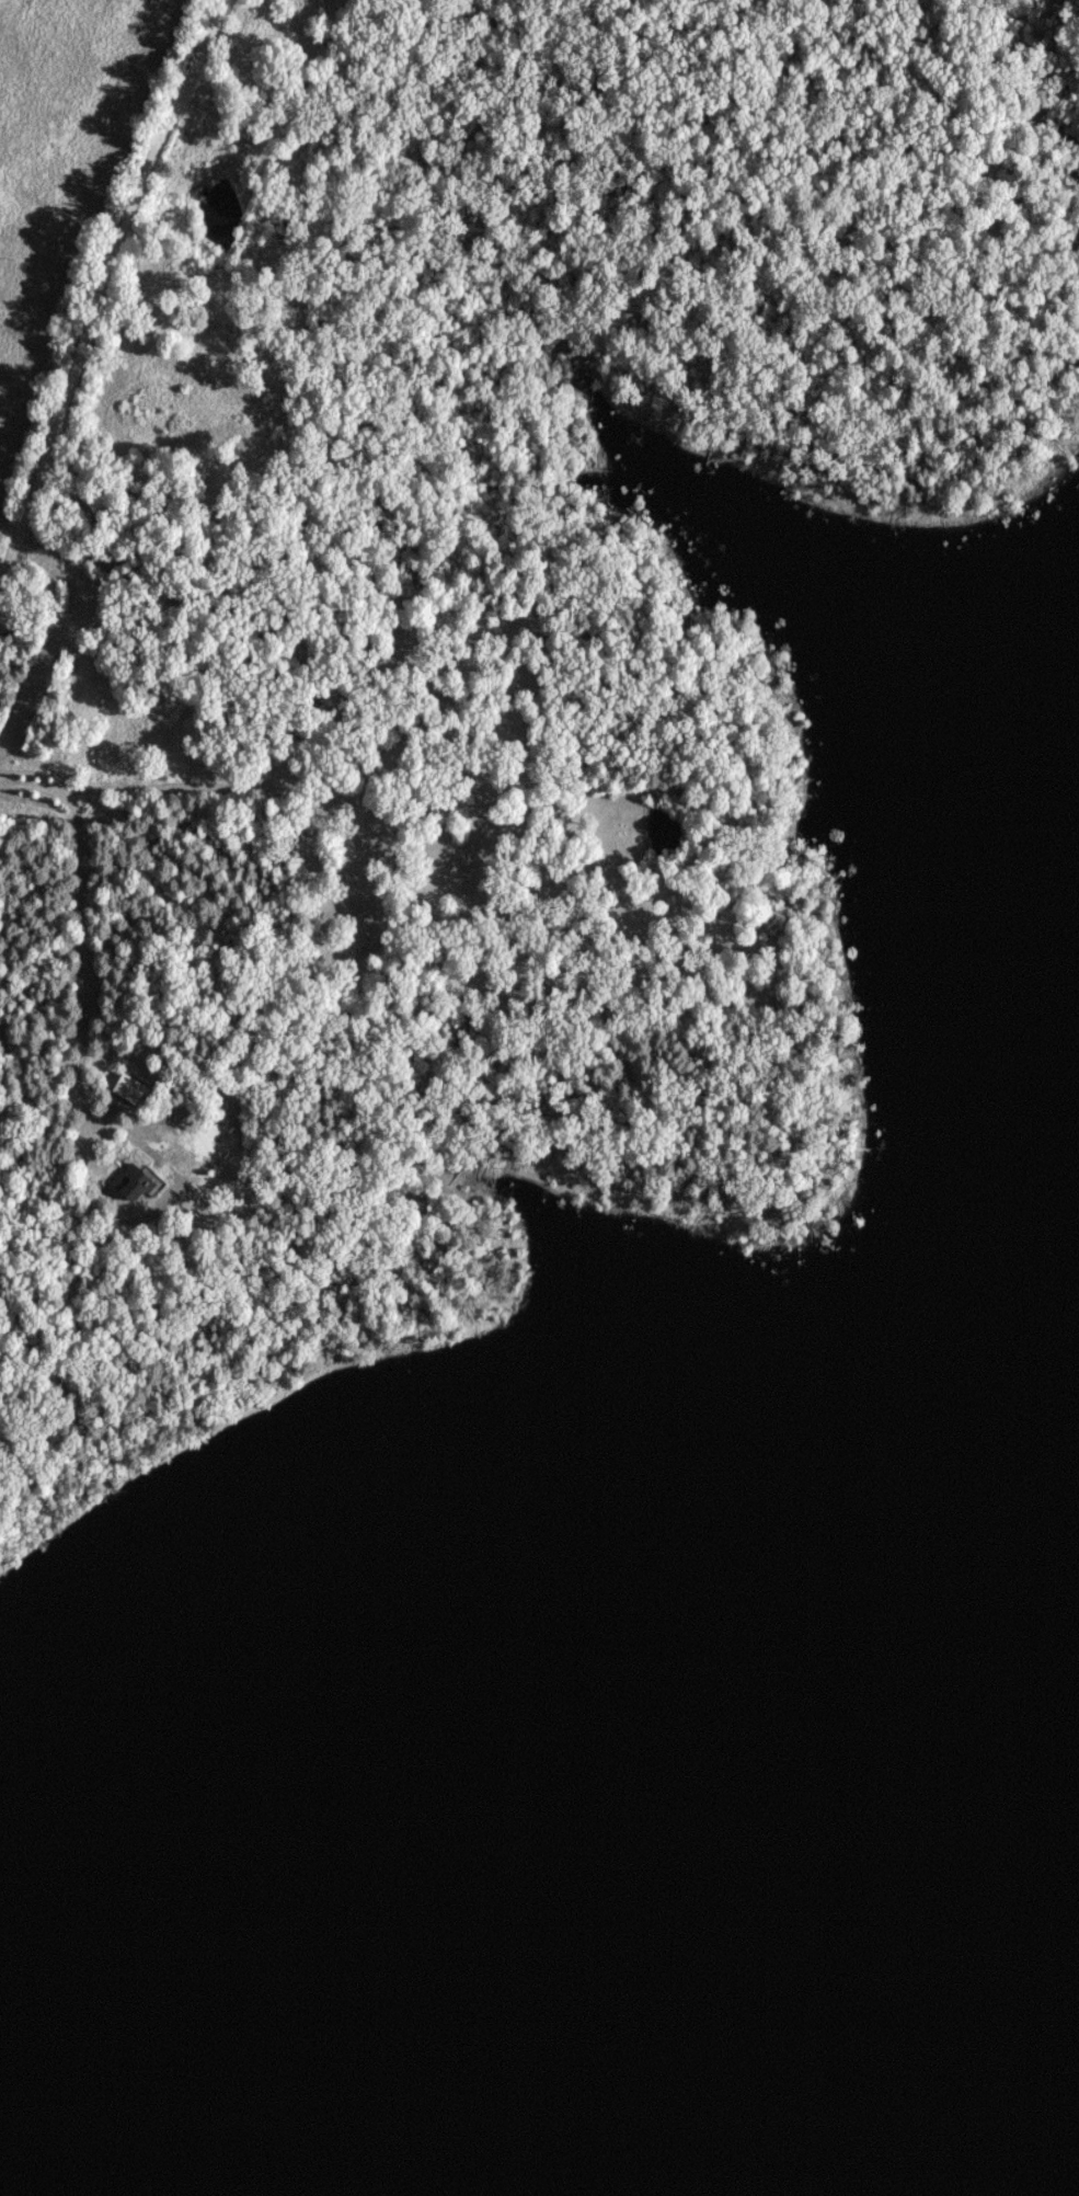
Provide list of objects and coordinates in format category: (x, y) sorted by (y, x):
road: (99, 287)
road: (83, 931)
building: (129, 1087)
building: (135, 1180)

